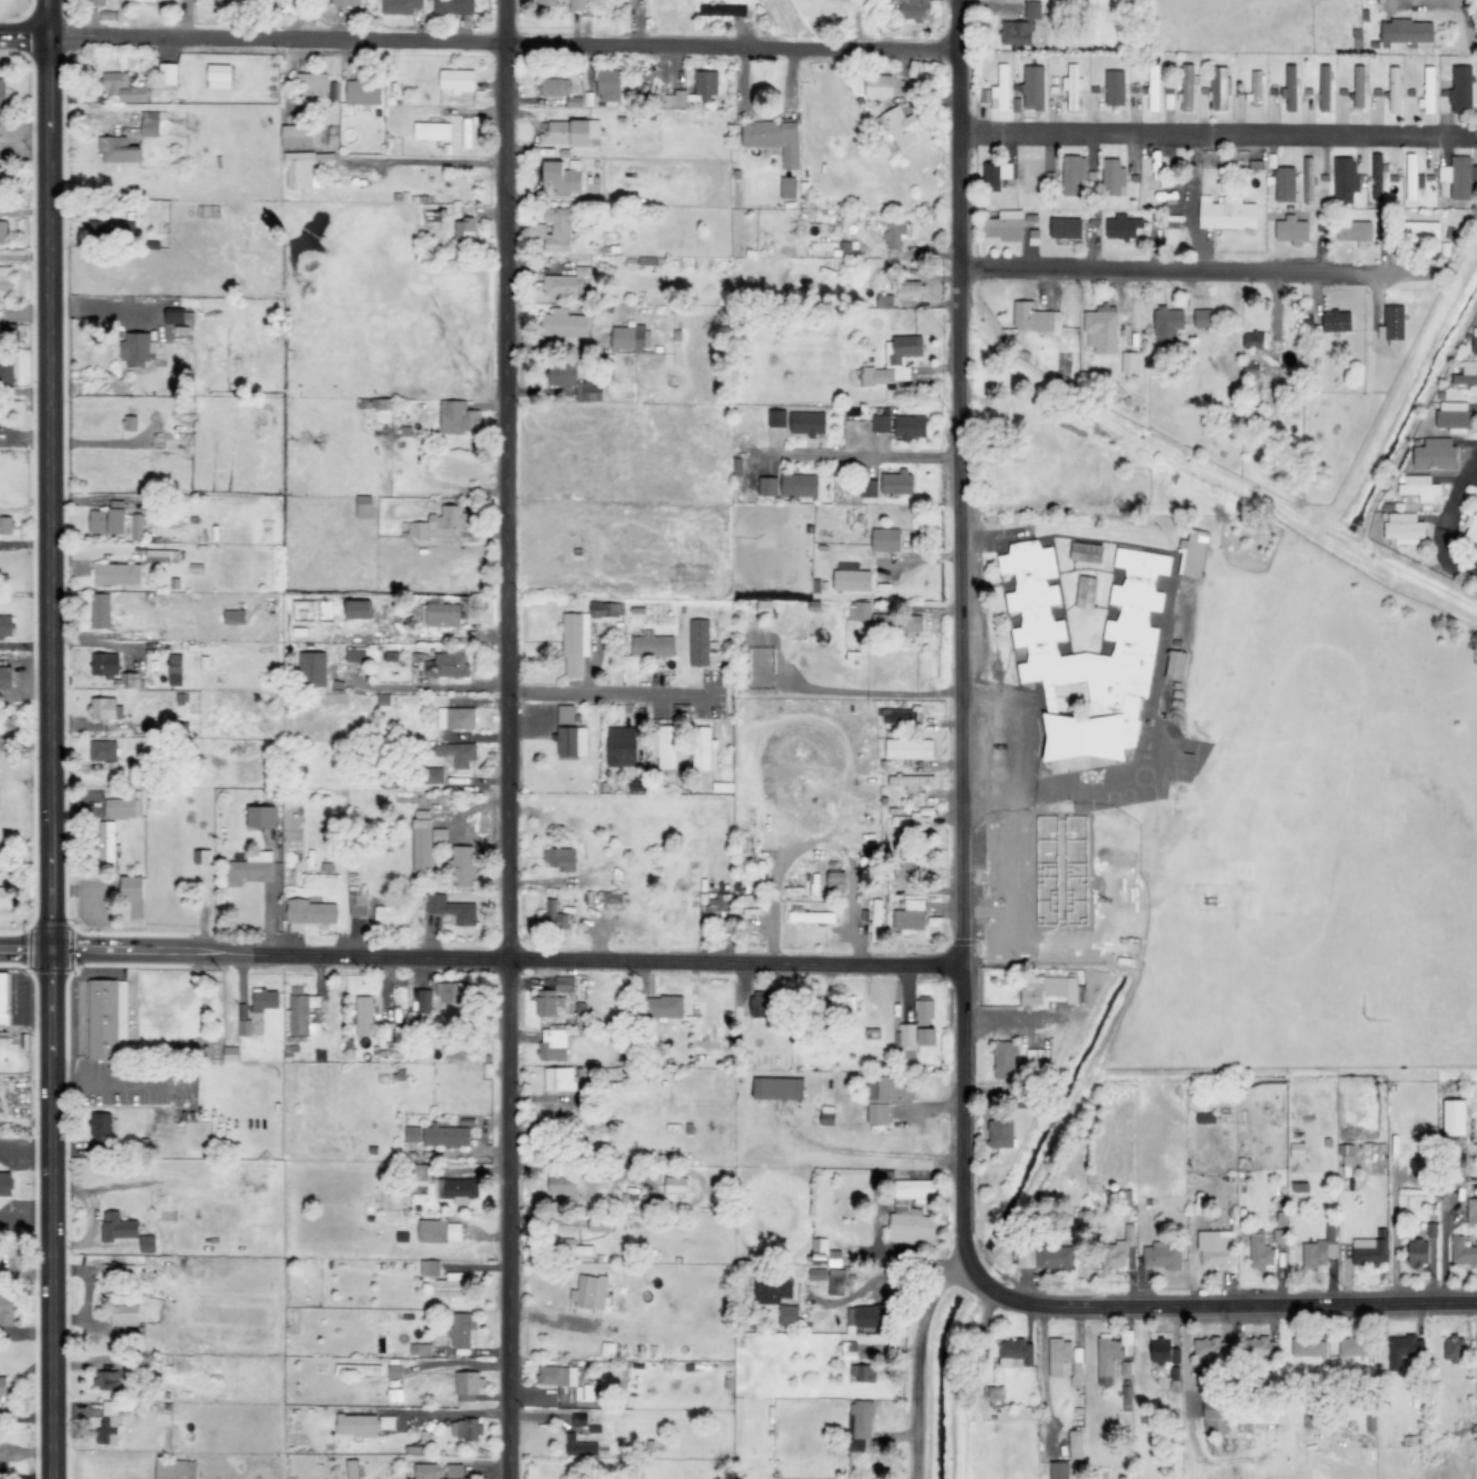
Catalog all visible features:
building: (141, 1)
building: (232, 1)
road: (1469, 1)
building: (98, 2)
building: (346, 2)
building: (546, 2)
building: (577, 5)
building: (400, 6)
building: (453, 7)
building: (913, 9)
building: (722, 10)
building: (1032, 10)
building: (1406, 31)
building: (1017, 33)
road: (479, 42)
building: (168, 77)
building: (457, 80)
building: (310, 82)
building: (609, 86)
building: (879, 86)
building: (1153, 87)
building: (1187, 87)
building: (1359, 87)
building: (123, 88)
building: (554, 88)
building: (1114, 88)
building: (1219, 88)
building: (1000, 89)
building: (1290, 89)
building: (1324, 89)
building: (1461, 89)
building: (695, 90)
building: (1255, 90)
building: (1394, 90)
building: (1428, 91)
building: (363, 92)
building: (1170, 98)
building: (153, 122)
building: (901, 127)
building: (432, 131)
building: (568, 132)
road: (1212, 135)
building: (300, 136)
building: (774, 139)
building: (117, 150)
building: (306, 169)
building: (1073, 174)
building: (995, 175)
building: (1377, 176)
building: (2, 177)
building: (561, 177)
building: (1112, 177)
building: (1411, 177)
building: (1459, 177)
building: (1345, 179)
building: (1308, 181)
building: (1284, 184)
building: (787, 188)
building: (1227, 213)
building: (1005, 226)
building: (1122, 227)
building: (104, 228)
building: (1065, 228)
building: (1291, 229)
building: (554, 230)
building: (1355, 231)
building: (1420, 231)
building: (2, 232)
building: (895, 232)
building: (464, 233)
road: (1190, 274)
building: (5, 278)
building: (560, 286)
building: (911, 291)
building: (885, 301)
building: (175, 318)
building: (1205, 318)
building: (1035, 319)
building: (1335, 322)
building: (564, 324)
building: (1167, 325)
building: (1393, 326)
building: (1100, 329)
building: (9, 333)
building: (629, 338)
building: (1254, 340)
building: (1474, 341)
building: (137, 350)
building: (1128, 362)
building: (1466, 376)
building: (575, 383)
building: (375, 403)
building: (1454, 417)
building: (458, 418)
building: (776, 418)
building: (807, 423)
building: (880, 423)
building: (130, 424)
building: (910, 427)
building: (1436, 454)
building: (897, 482)
building: (800, 486)
building: (768, 487)
building: (1419, 488)
building: (868, 489)
building: (363, 507)
building: (107, 521)
road: (1442, 523)
building: (439, 524)
building: (6, 526)
building: (1471, 526)
building: (136, 527)
building: (1404, 529)
building: (885, 540)
building: (1086, 553)
building: (1193, 554)
building: (162, 557)
building: (117, 574)
building: (852, 580)
building: (1086, 593)
building: (764, 608)
building: (358, 610)
building: (605, 610)
building: (100, 611)
building: (313, 611)
building: (857, 611)
building: (442, 616)
building: (234, 617)
building: (897, 623)
building: (6, 626)
building: (574, 643)
building: (698, 643)
building: (652, 647)
building: (361, 654)
building: (1084, 654)
building: (105, 664)
building: (1175, 665)
building: (447, 666)
building: (312, 669)
building: (176, 670)
building: (6, 678)
building: (127, 681)
building: (105, 709)
building: (566, 714)
building: (901, 717)
building: (455, 718)
road: (49, 739)
road: (506, 739)
building: (572, 742)
building: (622, 745)
road: (961, 745)
building: (664, 746)
building: (909, 749)
building: (704, 750)
building: (103, 751)
building: (456, 754)
building: (433, 776)
building: (911, 781)
building: (120, 809)
building: (261, 817)
building: (106, 842)
building: (425, 844)
building: (202, 857)
building: (560, 859)
building: (462, 867)
building: (251, 869)
building: (908, 869)
building: (836, 880)
building: (132, 888)
building: (611, 897)
building: (4, 898)
building: (358, 907)
building: (718, 908)
building: (451, 910)
building: (310, 912)
building: (390, 913)
building: (554, 916)
building: (809, 916)
building: (909, 917)
building: (876, 921)
road: (480, 958)
building: (448, 992)
building: (553, 996)
building: (3, 997)
building: (265, 999)
building: (424, 1002)
building: (764, 1003)
building: (664, 1006)
building: (604, 1007)
building: (924, 1013)
building: (302, 1014)
building: (579, 1014)
building: (364, 1016)
building: (111, 1019)
building: (244, 1027)
building: (816, 1030)
building: (927, 1036)
building: (905, 1040)
building: (553, 1045)
building: (231, 1054)
building: (1036, 1058)
building: (1004, 1060)
building: (559, 1078)
building: (891, 1087)
building: (778, 1088)
building: (1003, 1092)
building: (878, 1114)
building: (826, 1116)
building: (1205, 1117)
building: (1455, 1117)
building: (101, 1131)
building: (411, 1134)
building: (1000, 1134)
building: (446, 1136)
building: (1297, 1150)
building: (1348, 1163)
building: (5, 1183)
building: (562, 1184)
building: (675, 1185)
building: (1300, 1187)
building: (456, 1188)
building: (1472, 1210)
building: (911, 1213)
building: (600, 1222)
building: (118, 1226)
building: (439, 1231)
building: (147, 1243)
building: (1117, 1250)
building: (1217, 1250)
building: (1368, 1251)
building: (1418, 1251)
building: (1463, 1251)
building: (825, 1252)
building: (1260, 1252)
building: (1162, 1256)
building: (1025, 1257)
building: (1054, 1257)
building: (430, 1267)
road: (977, 1272)
building: (118, 1273)
building: (816, 1274)
building: (836, 1284)
building: (450, 1288)
building: (772, 1290)
building: (589, 1292)
road: (1231, 1303)
building: (7, 1310)
building: (788, 1315)
building: (866, 1317)
building: (124, 1319)
building: (461, 1329)
building: (1352, 1346)
building: (1210, 1347)
building: (1259, 1347)
building: (1308, 1347)
building: (1454, 1348)
building: (420, 1349)
building: (1402, 1349)
building: (847, 1350)
building: (1163, 1350)
building: (1015, 1352)
building: (1112, 1357)
building: (1064, 1360)
building: (358, 1369)
building: (863, 1373)
building: (1174, 1373)
building: (107, 1380)
building: (562, 1381)
building: (468, 1386)
building: (3, 1391)
building: (1126, 1395)
building: (1215, 1412)
building: (1257, 1413)
building: (861, 1418)
building: (109, 1422)
building: (386, 1422)
building: (357, 1425)
building: (465, 1429)
building: (583, 1437)
building: (1075, 1445)
building: (175, 1469)
building: (352, 1469)
building: (1059, 1470)
building: (425, 1471)
building: (454, 1471)

